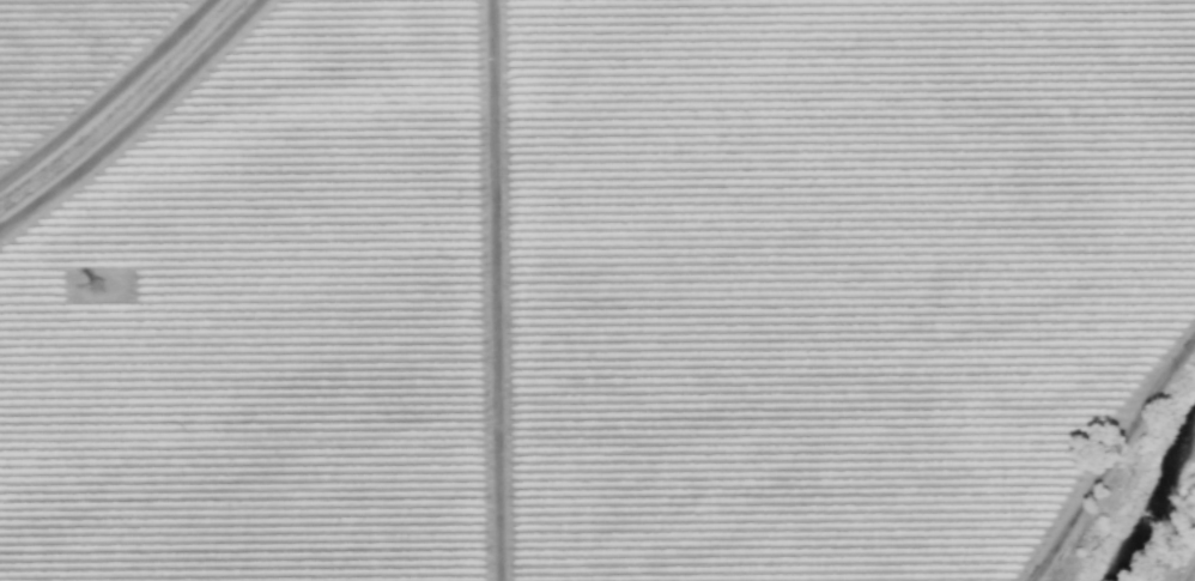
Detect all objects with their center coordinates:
power tower: (98, 288)
crop: (597, 291)

